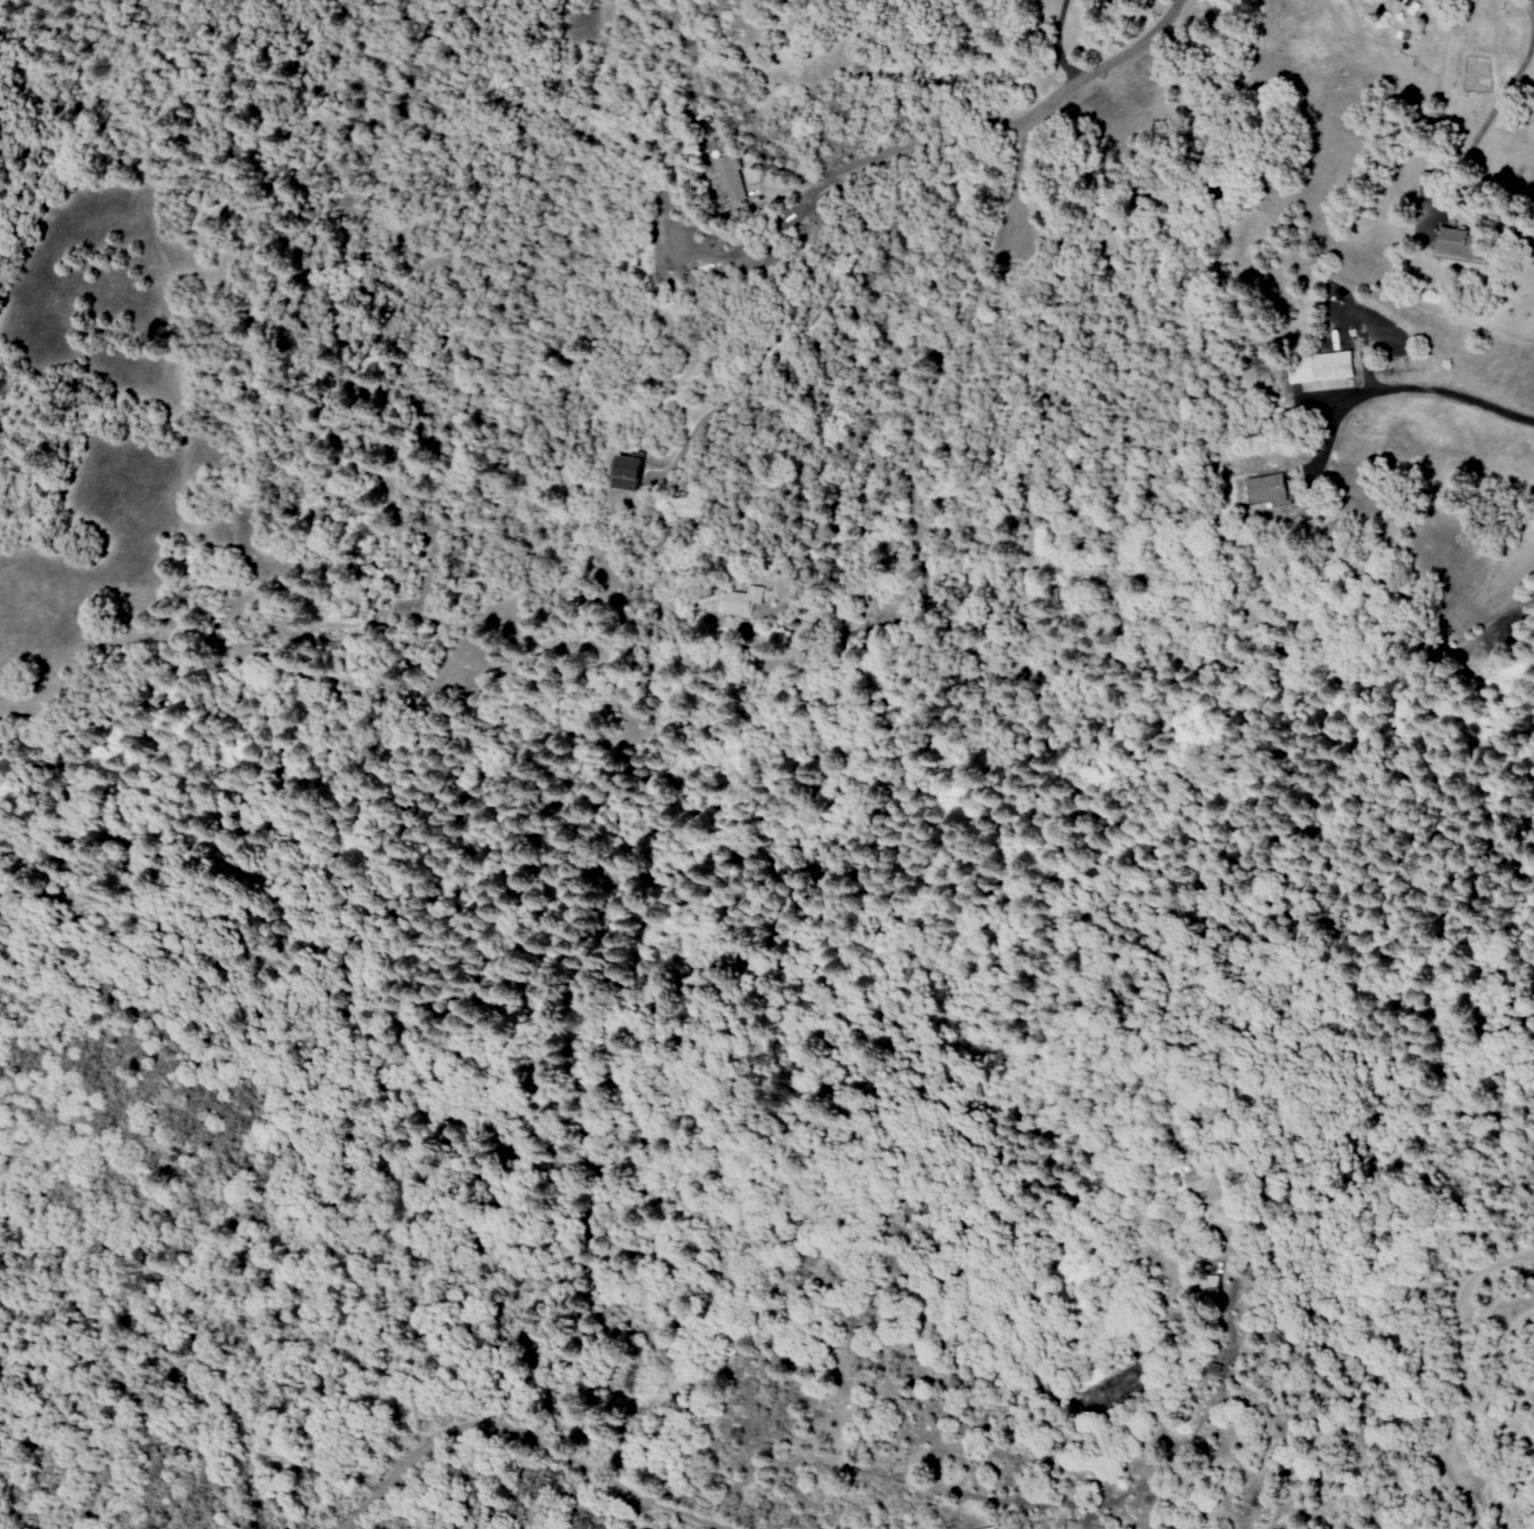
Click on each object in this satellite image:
building: (1403, 2)
road: (1058, 95)
road: (1498, 99)
building: (727, 179)
building: (1451, 245)
building: (1319, 368)
road: (1422, 390)
building: (625, 472)
building: (1263, 487)
building: (740, 601)
building: (1201, 1183)
building: (1207, 1291)
road: (1463, 1375)
road: (1330, 1376)
road: (524, 1434)

